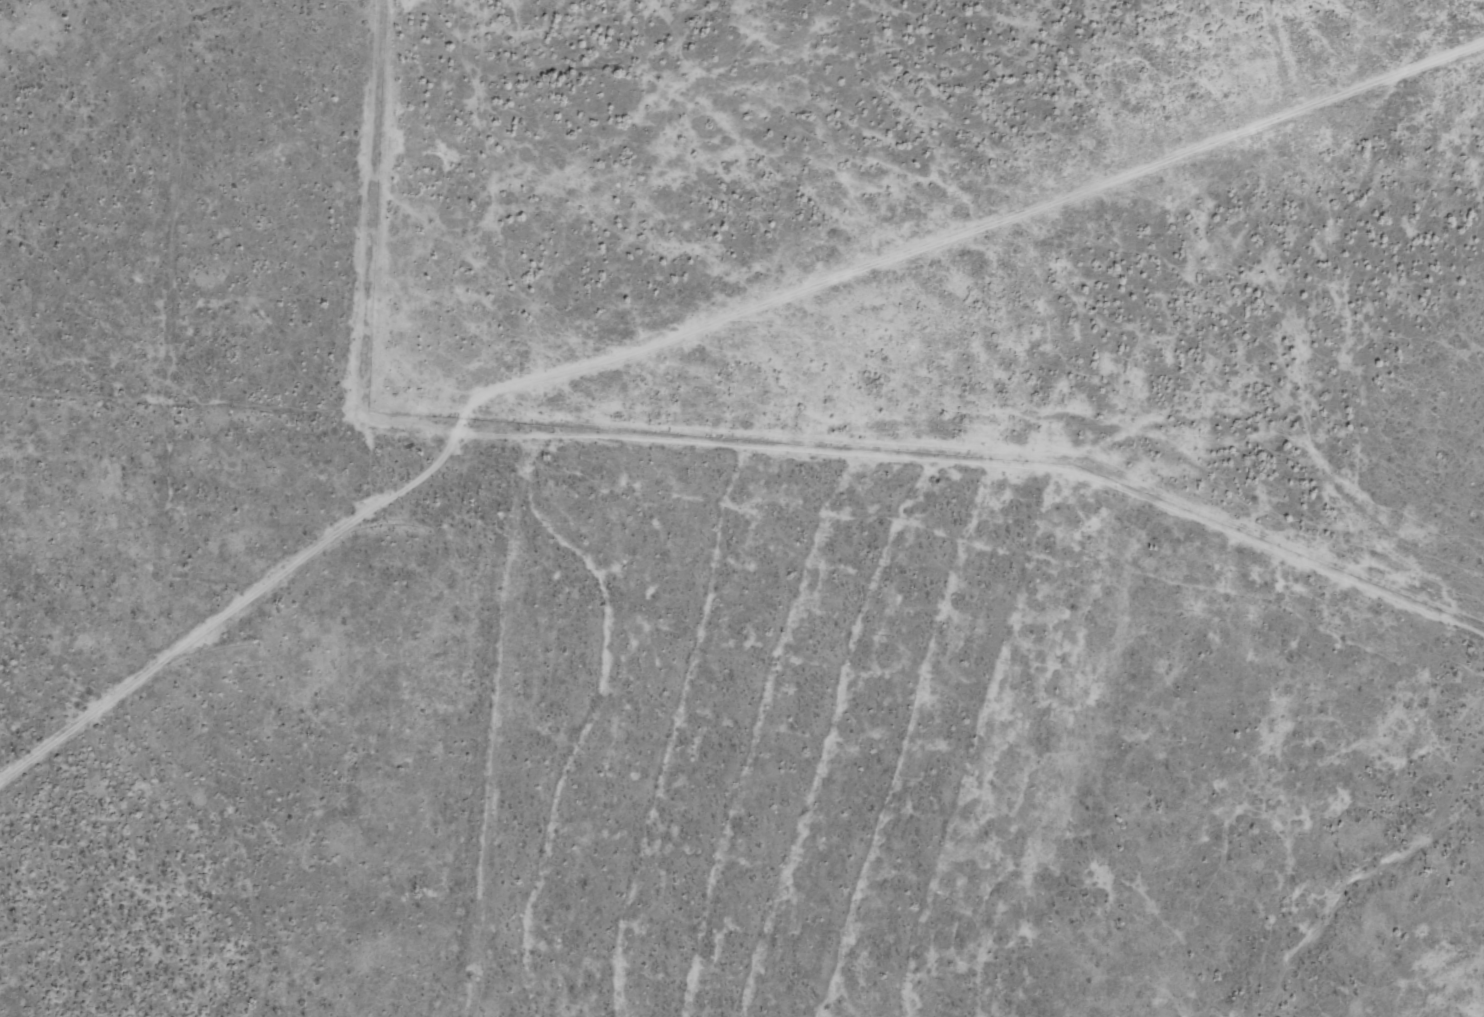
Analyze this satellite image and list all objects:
road: (1342, 230)
road: (762, 459)

